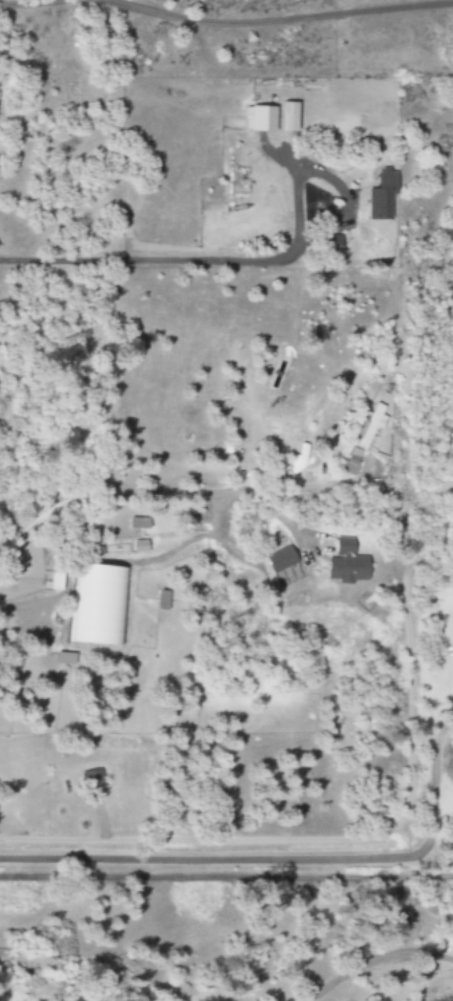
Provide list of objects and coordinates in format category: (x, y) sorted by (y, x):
building: (104, 42)
building: (260, 119)
building: (382, 196)
building: (334, 246)
building: (371, 427)
building: (300, 458)
building: (353, 462)
building: (281, 559)
building: (346, 563)
building: (163, 600)
building: (98, 604)
building: (93, 779)
road: (354, 839)
road: (284, 859)
road: (226, 876)

